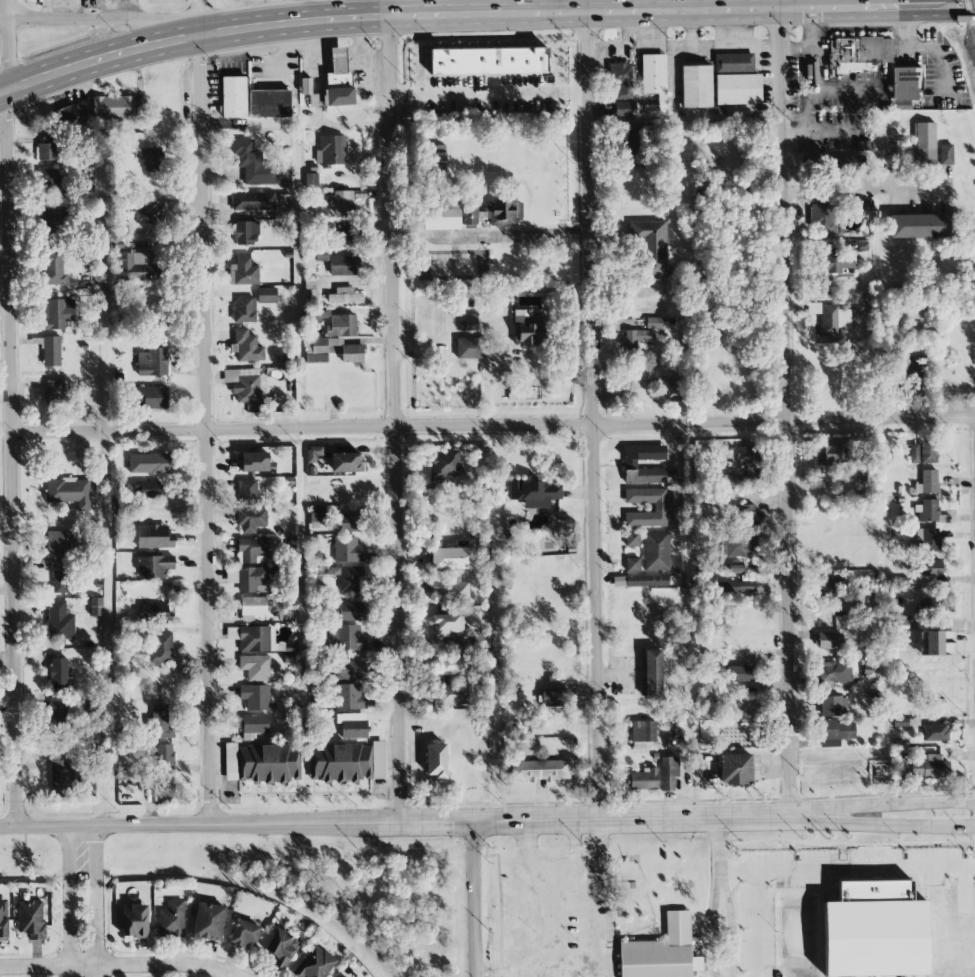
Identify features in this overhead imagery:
road: (778, 4)
road: (584, 6)
road: (926, 6)
road: (389, 8)
road: (6, 9)
road: (434, 16)
road: (200, 17)
railway: (970, 17)
road: (3, 18)
road: (104, 21)
road: (921, 45)
building: (858, 53)
building: (490, 62)
building: (733, 63)
building: (654, 78)
building: (621, 80)
road: (813, 80)
building: (336, 83)
building: (696, 87)
building: (905, 87)
building: (737, 90)
road: (489, 95)
building: (234, 98)
building: (270, 104)
building: (113, 107)
building: (141, 108)
building: (625, 109)
building: (71, 114)
building: (639, 138)
building: (924, 143)
building: (47, 148)
building: (330, 150)
building: (946, 154)
building: (437, 157)
building: (151, 159)
building: (253, 164)
building: (51, 179)
road: (862, 189)
building: (259, 201)
building: (342, 202)
building: (153, 210)
building: (503, 213)
building: (834, 213)
building: (441, 215)
building: (469, 216)
building: (54, 219)
building: (921, 226)
building: (246, 233)
road: (512, 234)
building: (347, 237)
building: (652, 245)
road: (4, 250)
building: (838, 263)
building: (344, 265)
building: (138, 267)
building: (53, 268)
building: (243, 271)
building: (272, 295)
building: (344, 295)
road: (4, 303)
building: (244, 310)
building: (57, 313)
building: (522, 313)
building: (826, 320)
building: (468, 322)
building: (654, 323)
building: (341, 325)
building: (529, 331)
building: (636, 338)
building: (247, 346)
building: (469, 348)
building: (318, 350)
building: (51, 351)
building: (352, 353)
building: (152, 362)
building: (916, 368)
building: (246, 385)
building: (676, 389)
building: (53, 393)
building: (152, 397)
road: (784, 409)
road: (593, 414)
road: (394, 419)
road: (11, 423)
road: (493, 426)
road: (204, 430)
building: (915, 449)
building: (929, 452)
building: (313, 454)
building: (747, 455)
building: (828, 455)
building: (254, 462)
building: (346, 462)
building: (149, 463)
building: (630, 464)
building: (446, 466)
building: (744, 479)
building: (928, 482)
building: (147, 489)
building: (247, 491)
building: (68, 492)
building: (534, 493)
building: (720, 496)
building: (659, 507)
building: (928, 512)
building: (317, 516)
building: (750, 519)
building: (251, 520)
building: (351, 522)
road: (7, 531)
building: (154, 537)
building: (632, 539)
building: (927, 540)
building: (738, 545)
building: (59, 547)
building: (253, 550)
building: (348, 550)
building: (655, 551)
building: (452, 558)
building: (633, 564)
building: (154, 566)
building: (735, 568)
building: (931, 568)
building: (346, 578)
building: (252, 580)
building: (641, 581)
building: (62, 582)
building: (829, 584)
building: (735, 586)
building: (451, 591)
building: (96, 606)
building: (252, 608)
building: (353, 609)
building: (154, 613)
building: (60, 621)
building: (447, 625)
building: (349, 638)
building: (257, 639)
building: (829, 640)
building: (938, 643)
building: (161, 648)
building: (452, 664)
building: (255, 667)
building: (351, 670)
building: (835, 672)
building: (740, 673)
building: (651, 674)
building: (59, 675)
building: (452, 695)
building: (554, 696)
building: (255, 697)
building: (349, 697)
building: (833, 706)
building: (57, 713)
building: (160, 721)
building: (351, 725)
building: (935, 732)
building: (836, 733)
building: (643, 734)
building: (164, 756)
building: (378, 760)
building: (436, 761)
building: (339, 763)
building: (261, 764)
building: (930, 767)
building: (735, 769)
building: (540, 770)
building: (669, 773)
building: (61, 777)
building: (644, 780)
building: (166, 788)
road: (907, 804)
road: (778, 810)
road: (359, 822)
road: (905, 826)
road: (573, 846)
road: (848, 869)
road: (541, 873)
road: (716, 893)
road: (474, 898)
road: (70, 902)
road: (100, 902)
building: (31, 919)
building: (171, 920)
building: (3, 921)
building: (134, 921)
building: (208, 921)
road: (729, 924)
road: (756, 924)
road: (599, 930)
building: (875, 930)
building: (244, 934)
building: (280, 948)
building: (662, 952)
building: (314, 964)
road: (129, 966)
road: (592, 975)
building: (343, 976)

